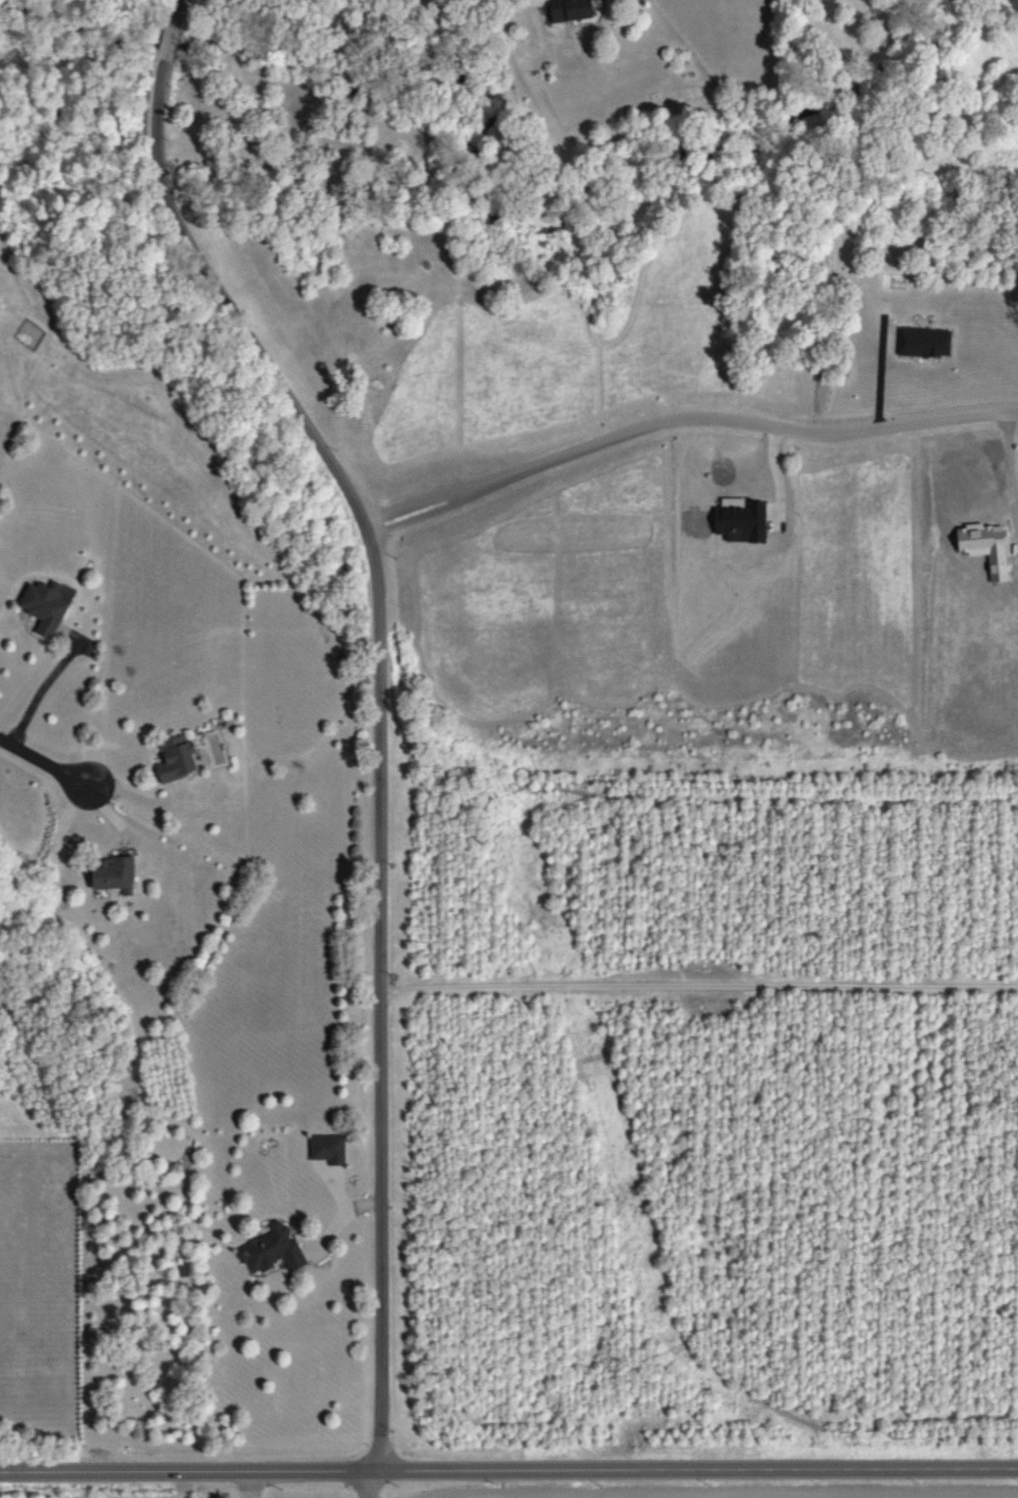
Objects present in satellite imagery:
building: (566, 10)
building: (924, 342)
road: (684, 420)
road: (1012, 488)
building: (740, 520)
building: (984, 546)
building: (46, 605)
road: (42, 687)
road: (378, 702)
building: (176, 758)
road: (39, 763)
building: (113, 874)
road: (698, 986)
building: (328, 1148)
building: (272, 1250)
road: (839, 1467)
road: (330, 1469)
road: (374, 1483)

